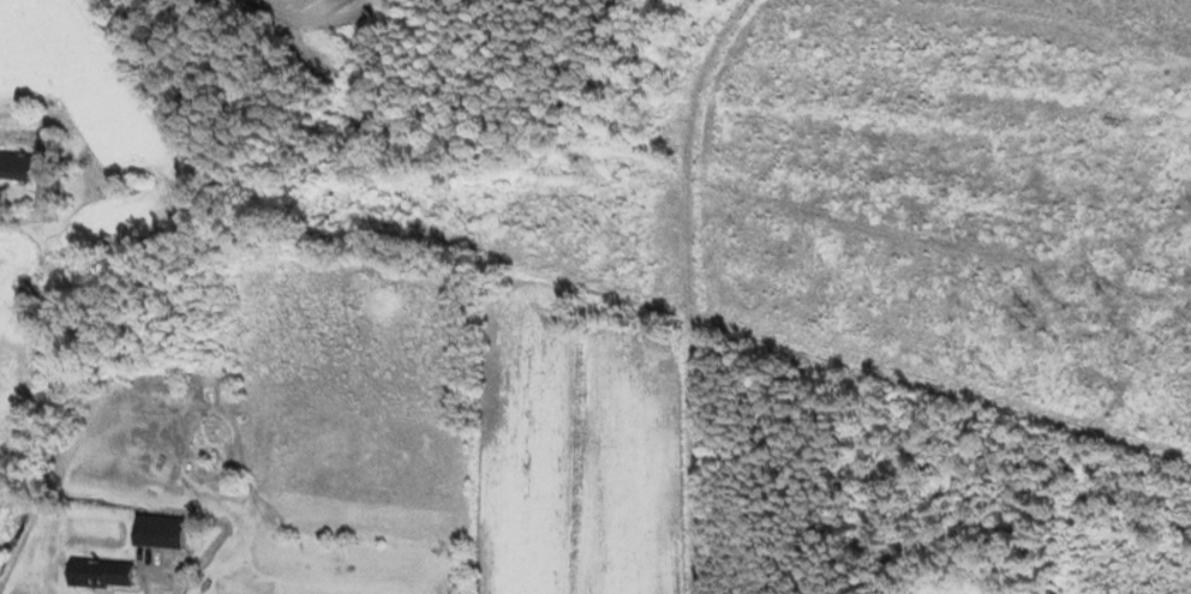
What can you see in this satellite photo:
building: (14, 167)
road: (71, 203)
building: (156, 532)
road: (152, 569)
building: (97, 575)

